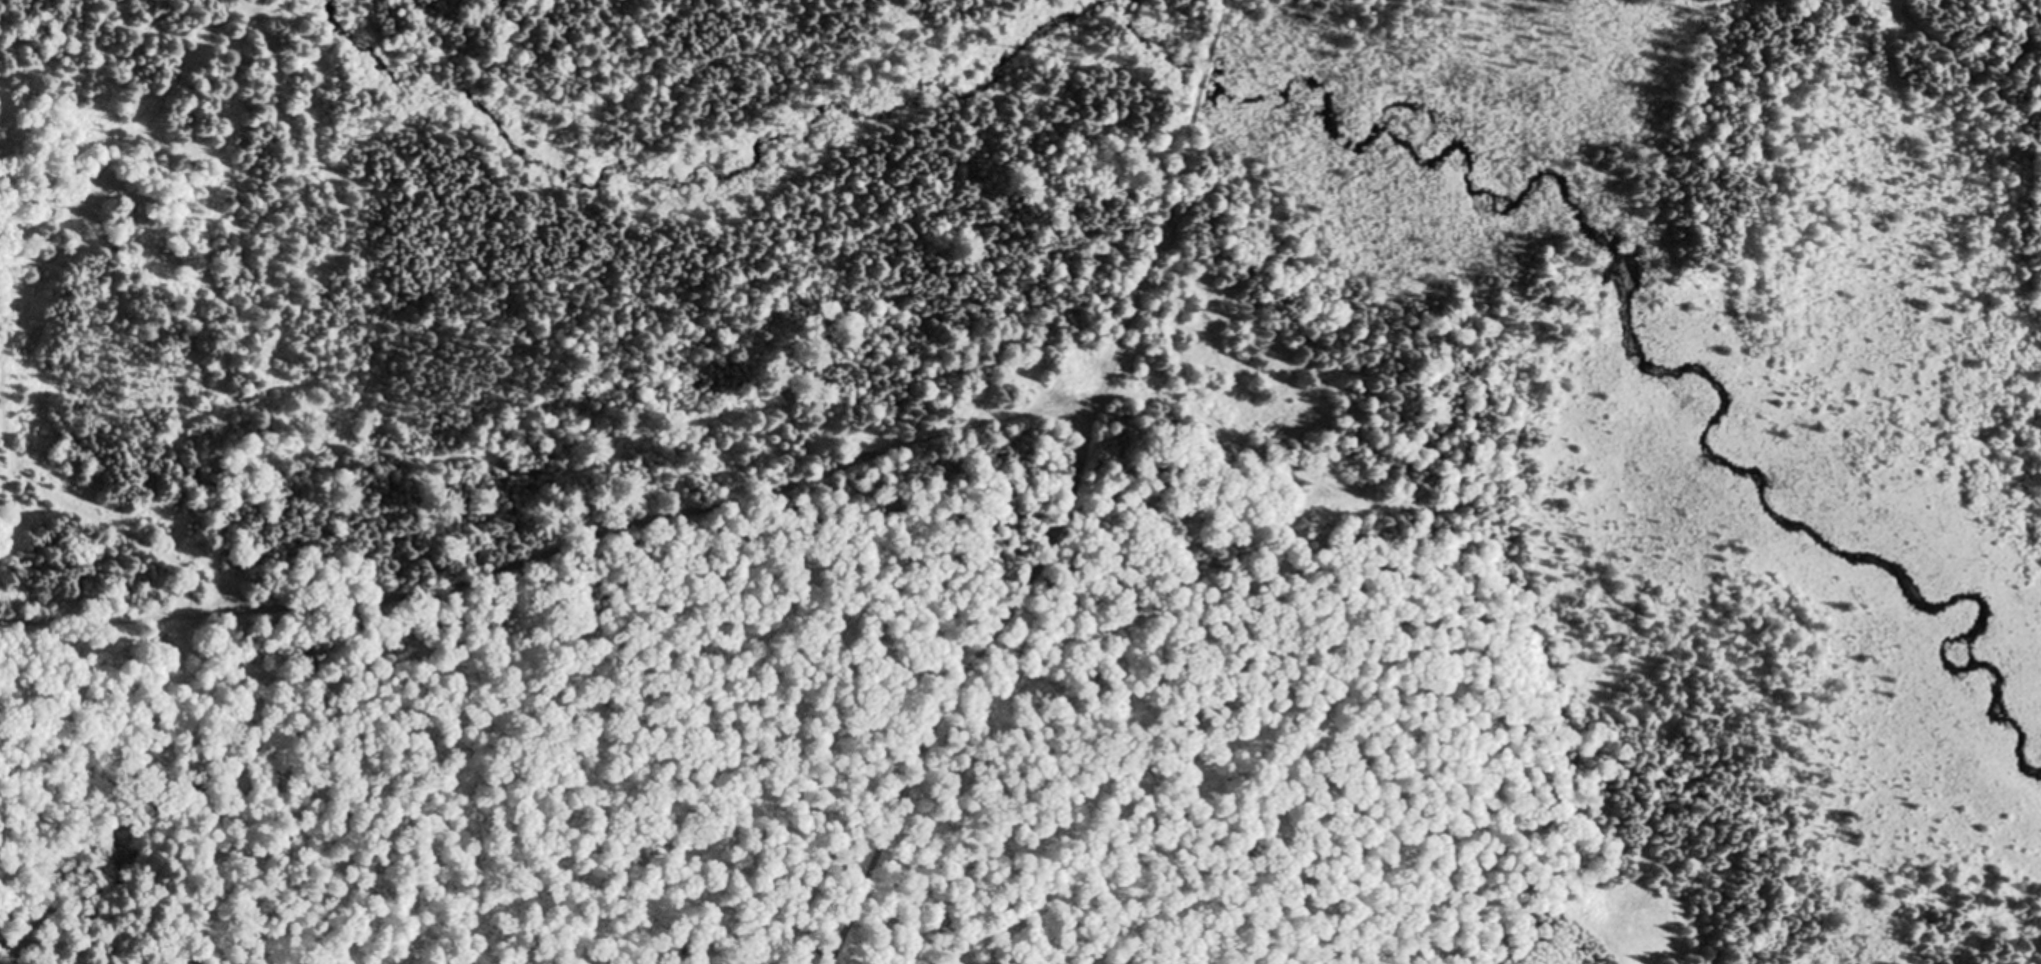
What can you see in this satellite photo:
road: (1043, 535)

